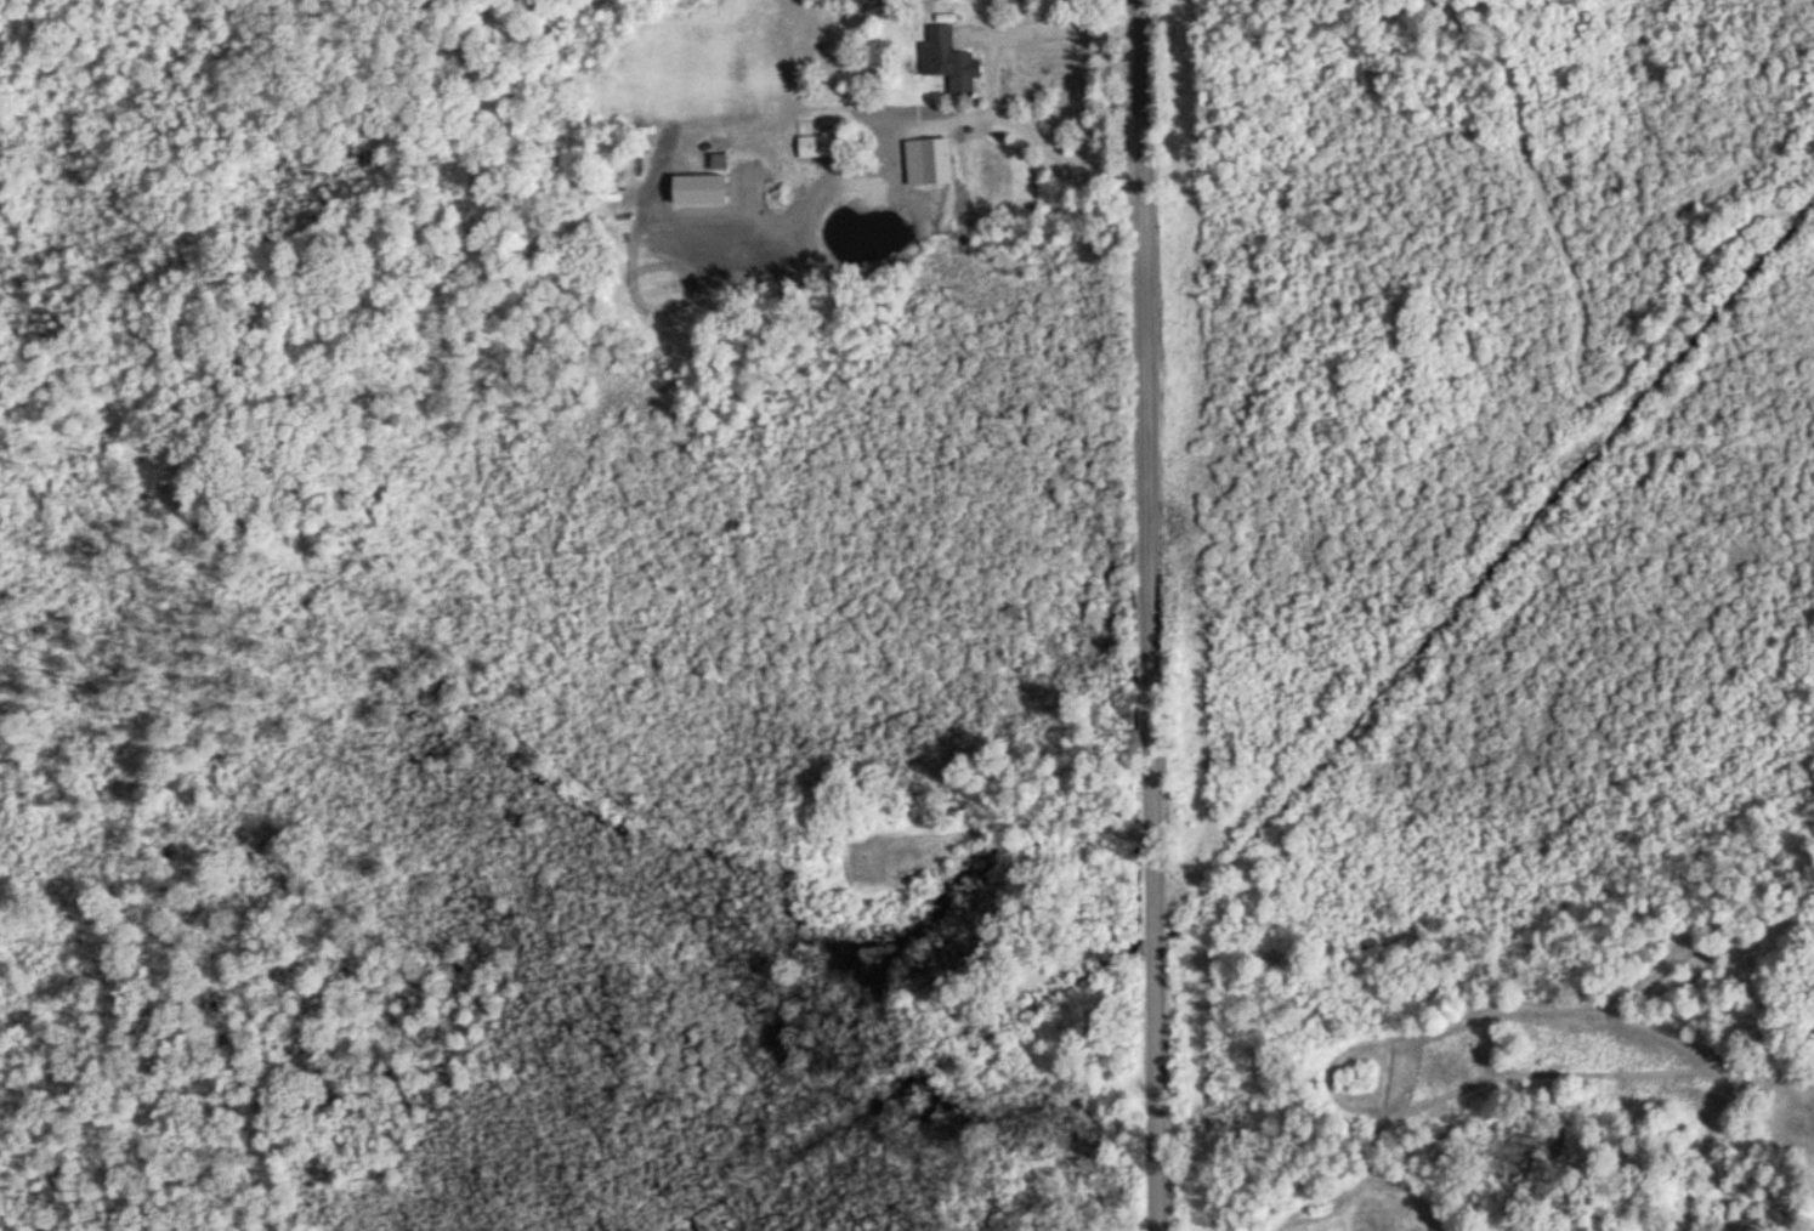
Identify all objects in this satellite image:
building: (951, 62)
road: (994, 81)
building: (817, 144)
road: (1149, 615)

